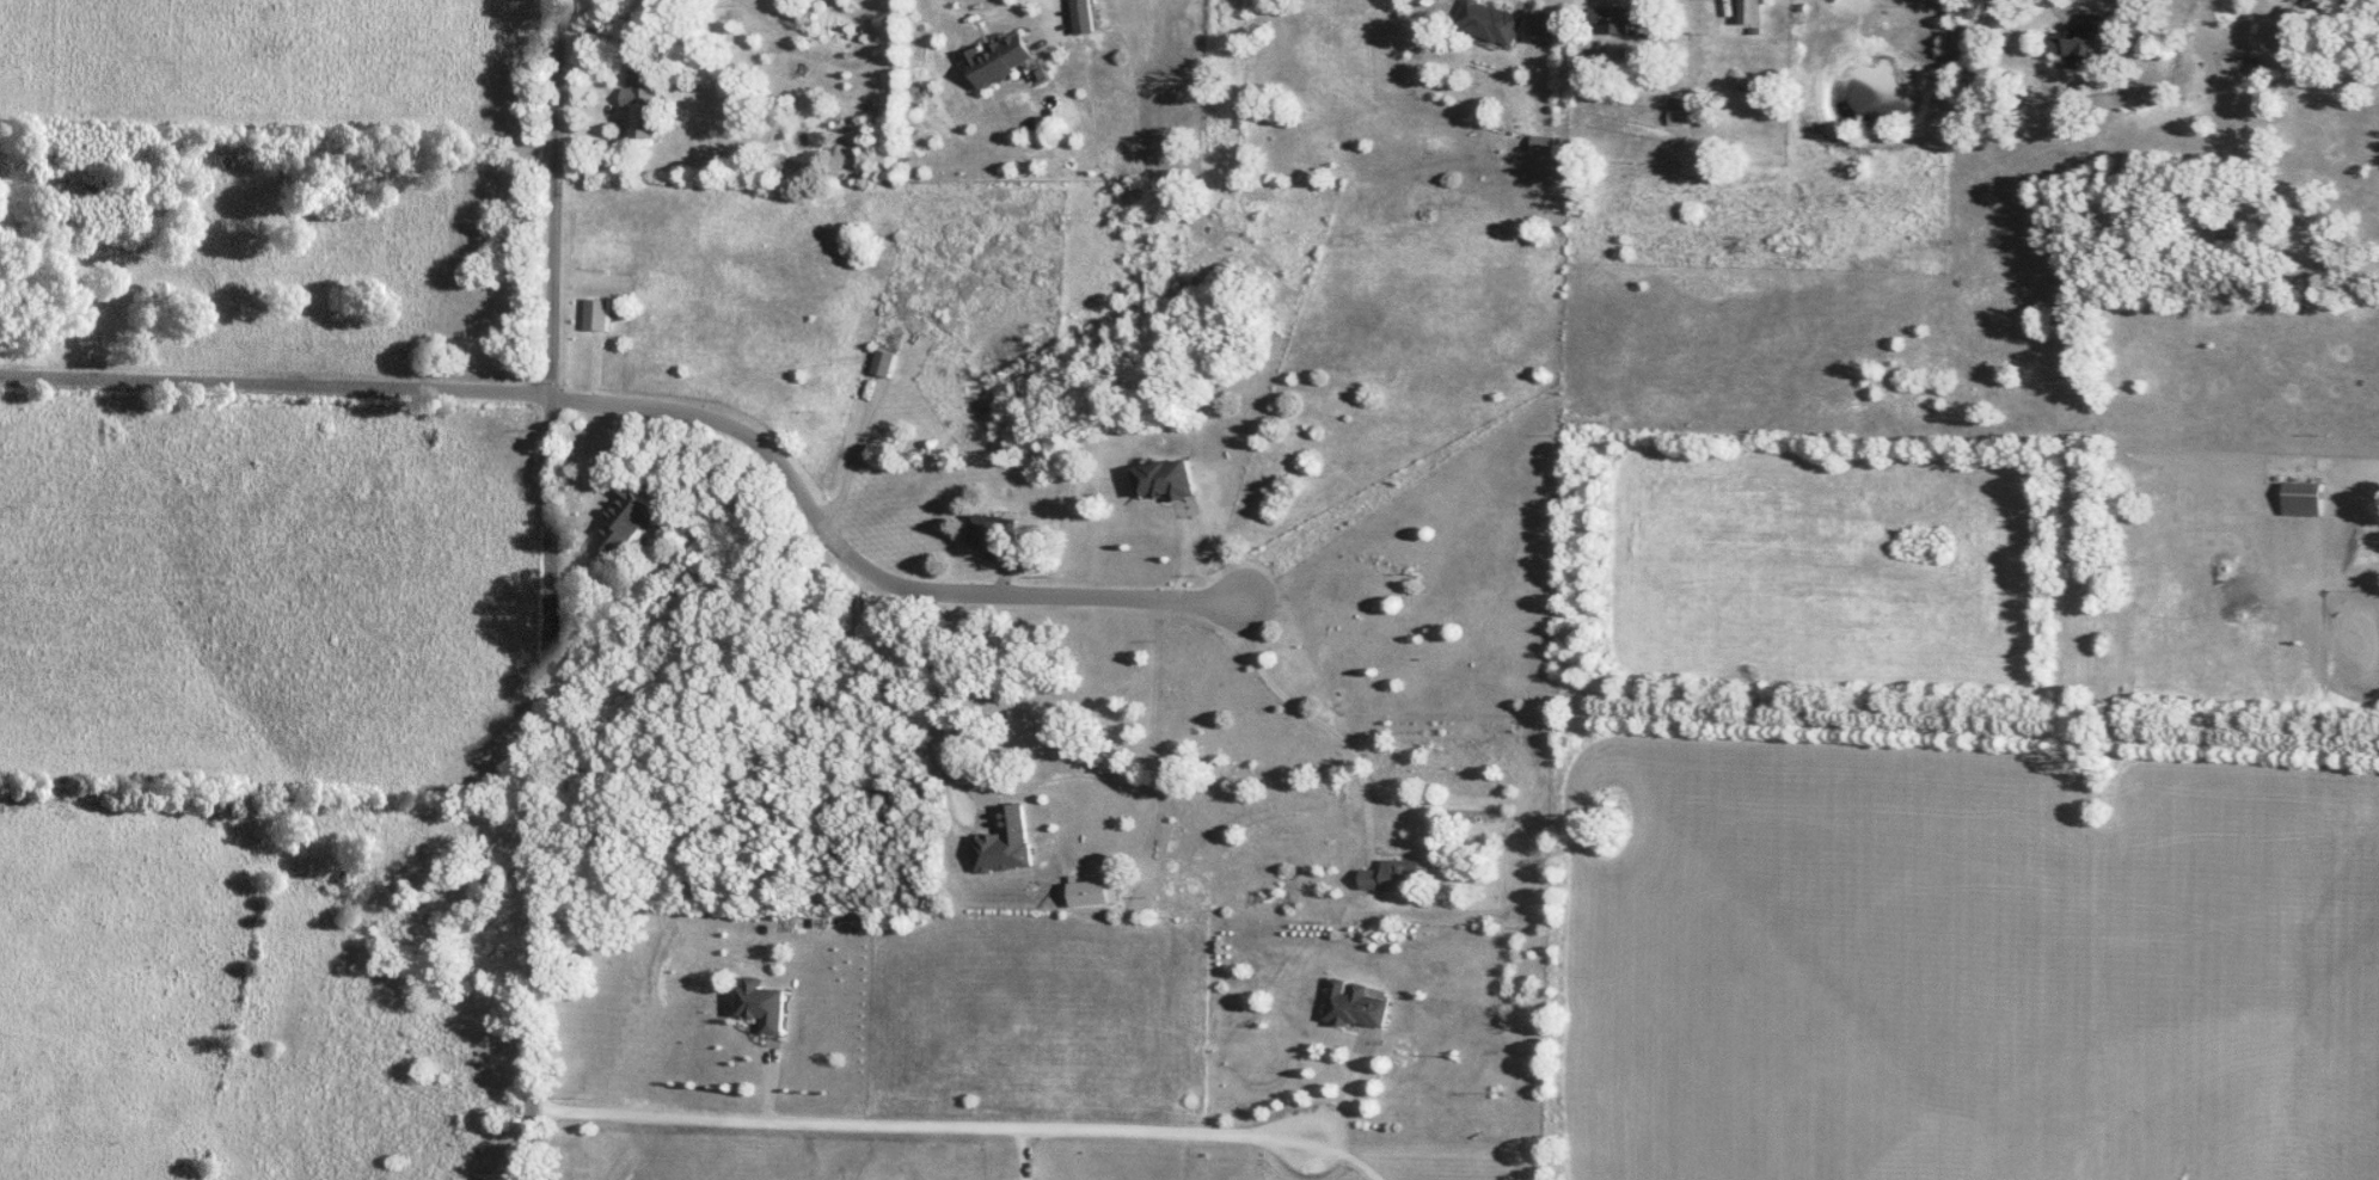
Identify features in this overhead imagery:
building: (1754, 12)
building: (1086, 16)
building: (1625, 17)
road: (2093, 17)
building: (1492, 20)
building: (1553, 23)
building: (2080, 41)
building: (1005, 59)
building: (643, 110)
building: (1545, 142)
building: (2232, 240)
building: (599, 314)
building: (884, 363)
road: (276, 389)
road: (852, 450)
building: (1169, 479)
building: (2303, 498)
road: (597, 502)
building: (629, 520)
building: (995, 534)
road: (871, 571)
road: (547, 589)
road: (943, 702)
road: (1323, 720)
building: (1007, 843)
building: (1398, 875)
building: (762, 1004)
building: (1357, 1006)
road: (1349, 1098)
road: (921, 1123)
road: (1345, 1153)

